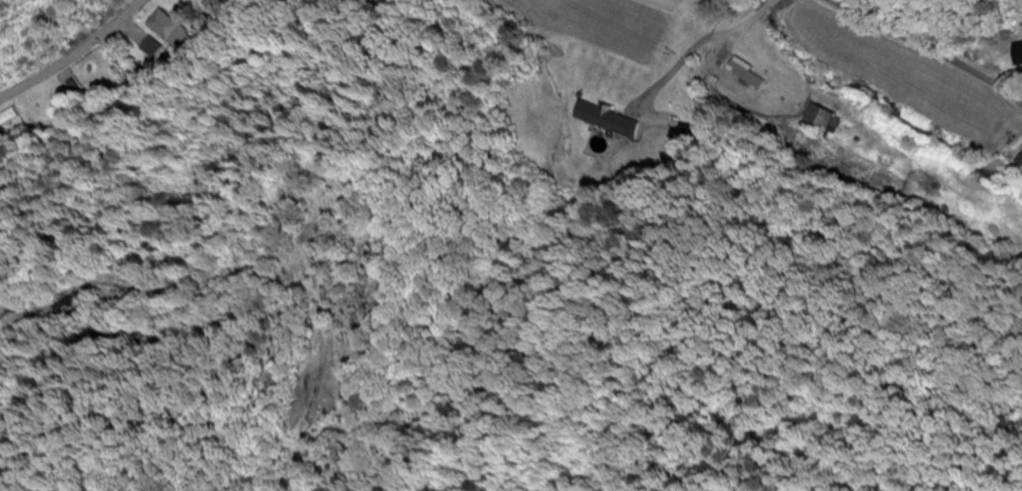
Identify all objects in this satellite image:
road: (307, 8)
road: (152, 28)
building: (173, 30)
road: (930, 48)
building: (157, 49)
building: (1018, 55)
building: (752, 75)
road: (1020, 96)
building: (610, 120)
building: (12, 121)
road: (909, 312)
road: (814, 382)

